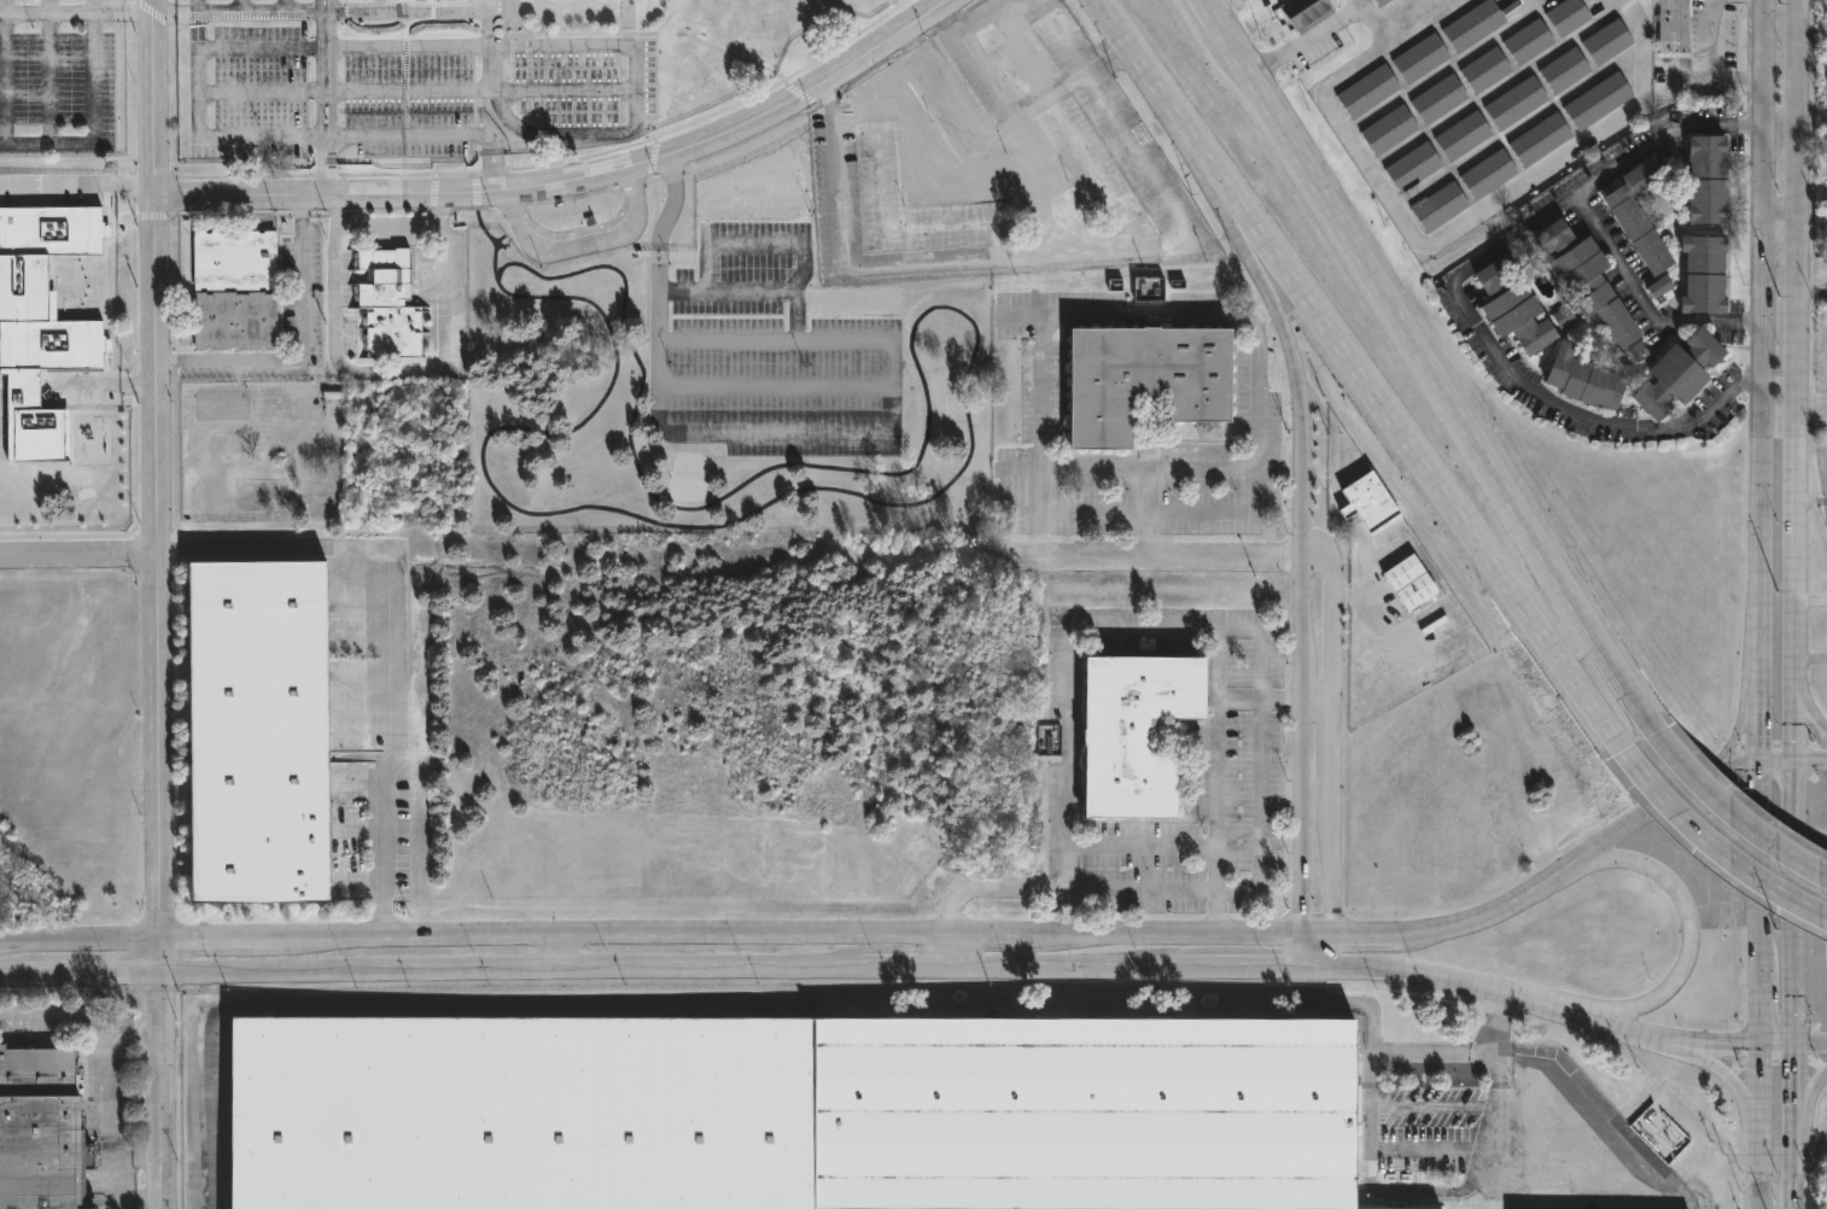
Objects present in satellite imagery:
building: (410, 0)
road: (1206, 1)
road: (1362, 1)
building: (1381, 2)
road: (95, 5)
road: (240, 6)
road: (285, 6)
road: (124, 10)
road: (47, 11)
road: (255, 12)
building: (1306, 12)
building: (1568, 14)
road: (992, 19)
building: (1473, 24)
building: (1675, 25)
road: (1304, 39)
building: (1528, 41)
building: (1607, 41)
building: (1420, 57)
road: (632, 66)
building: (1485, 69)
building: (1564, 69)
road: (5, 70)
road: (49, 70)
road: (812, 87)
building: (1367, 90)
road: (202, 92)
road: (263, 92)
road: (153, 98)
road: (325, 98)
building: (1440, 99)
building: (1598, 100)
building: (1516, 103)
road: (1016, 119)
road: (962, 122)
road: (97, 124)
building: (1389, 129)
road: (550, 132)
road: (432, 134)
road: (1074, 134)
building: (1463, 135)
building: (1540, 138)
road: (929, 157)
road: (649, 159)
road: (1143, 163)
building: (1414, 165)
building: (1489, 173)
building: (1708, 180)
road: (77, 185)
road: (1317, 185)
road: (1057, 188)
road: (1233, 191)
road: (393, 193)
building: (1438, 205)
building: (1640, 211)
road: (392, 227)
road: (887, 227)
building: (53, 229)
road: (1778, 236)
road: (1443, 239)
road: (582, 241)
road: (757, 244)
road: (947, 270)
building: (1704, 275)
building: (1588, 282)
building: (1659, 286)
road: (752, 288)
building: (1148, 288)
building: (233, 290)
road: (1454, 296)
road: (1644, 300)
building: (386, 303)
building: (1513, 306)
road: (1208, 316)
building: (1564, 319)
road: (1794, 344)
road: (304, 351)
road: (397, 368)
building: (1679, 373)
road: (156, 374)
road: (1758, 376)
building: (1143, 379)
building: (1586, 379)
road: (796, 384)
building: (23, 391)
road: (752, 431)
road: (1146, 468)
building: (1364, 497)
road: (1810, 503)
road: (1092, 506)
road: (78, 555)
road: (1151, 556)
road: (1551, 560)
road: (1501, 577)
road: (1297, 582)
building: (1409, 583)
road: (387, 630)
road: (1155, 630)
road: (1314, 701)
road: (1808, 713)
road: (1741, 720)
road: (1792, 722)
building: (1133, 728)
building: (257, 732)
building: (1050, 738)
road: (1333, 749)
road: (1259, 754)
traffic signals: (1756, 754)
road: (1791, 754)
traffic signals: (1793, 755)
road: (159, 763)
road: (1215, 783)
road: (1068, 818)
road: (1741, 822)
road: (1722, 858)
road: (1554, 878)
road: (1070, 892)
road: (1758, 898)
road: (1794, 899)
road: (1692, 929)
road: (665, 931)
traffic signals: (162, 942)
road: (561, 953)
road: (1245, 966)
road: (1066, 970)
traffic signals: (162, 973)
road: (512, 973)
road: (905, 973)
road: (93, 974)
road: (12, 975)
road: (1536, 998)
road: (1359, 1001)
road: (1496, 1036)
traffic signals: (1762, 1042)
road: (1793, 1042)
traffic signals: (1797, 1044)
road: (1431, 1052)
road: (162, 1090)
road: (1744, 1104)
road: (1796, 1106)
building: (786, 1111)
road: (1808, 1122)
road: (1759, 1125)
road: (106, 1128)
building: (39, 1129)
road: (1494, 1131)
road: (1794, 1190)
road: (1382, 1191)
road: (124, 1198)

